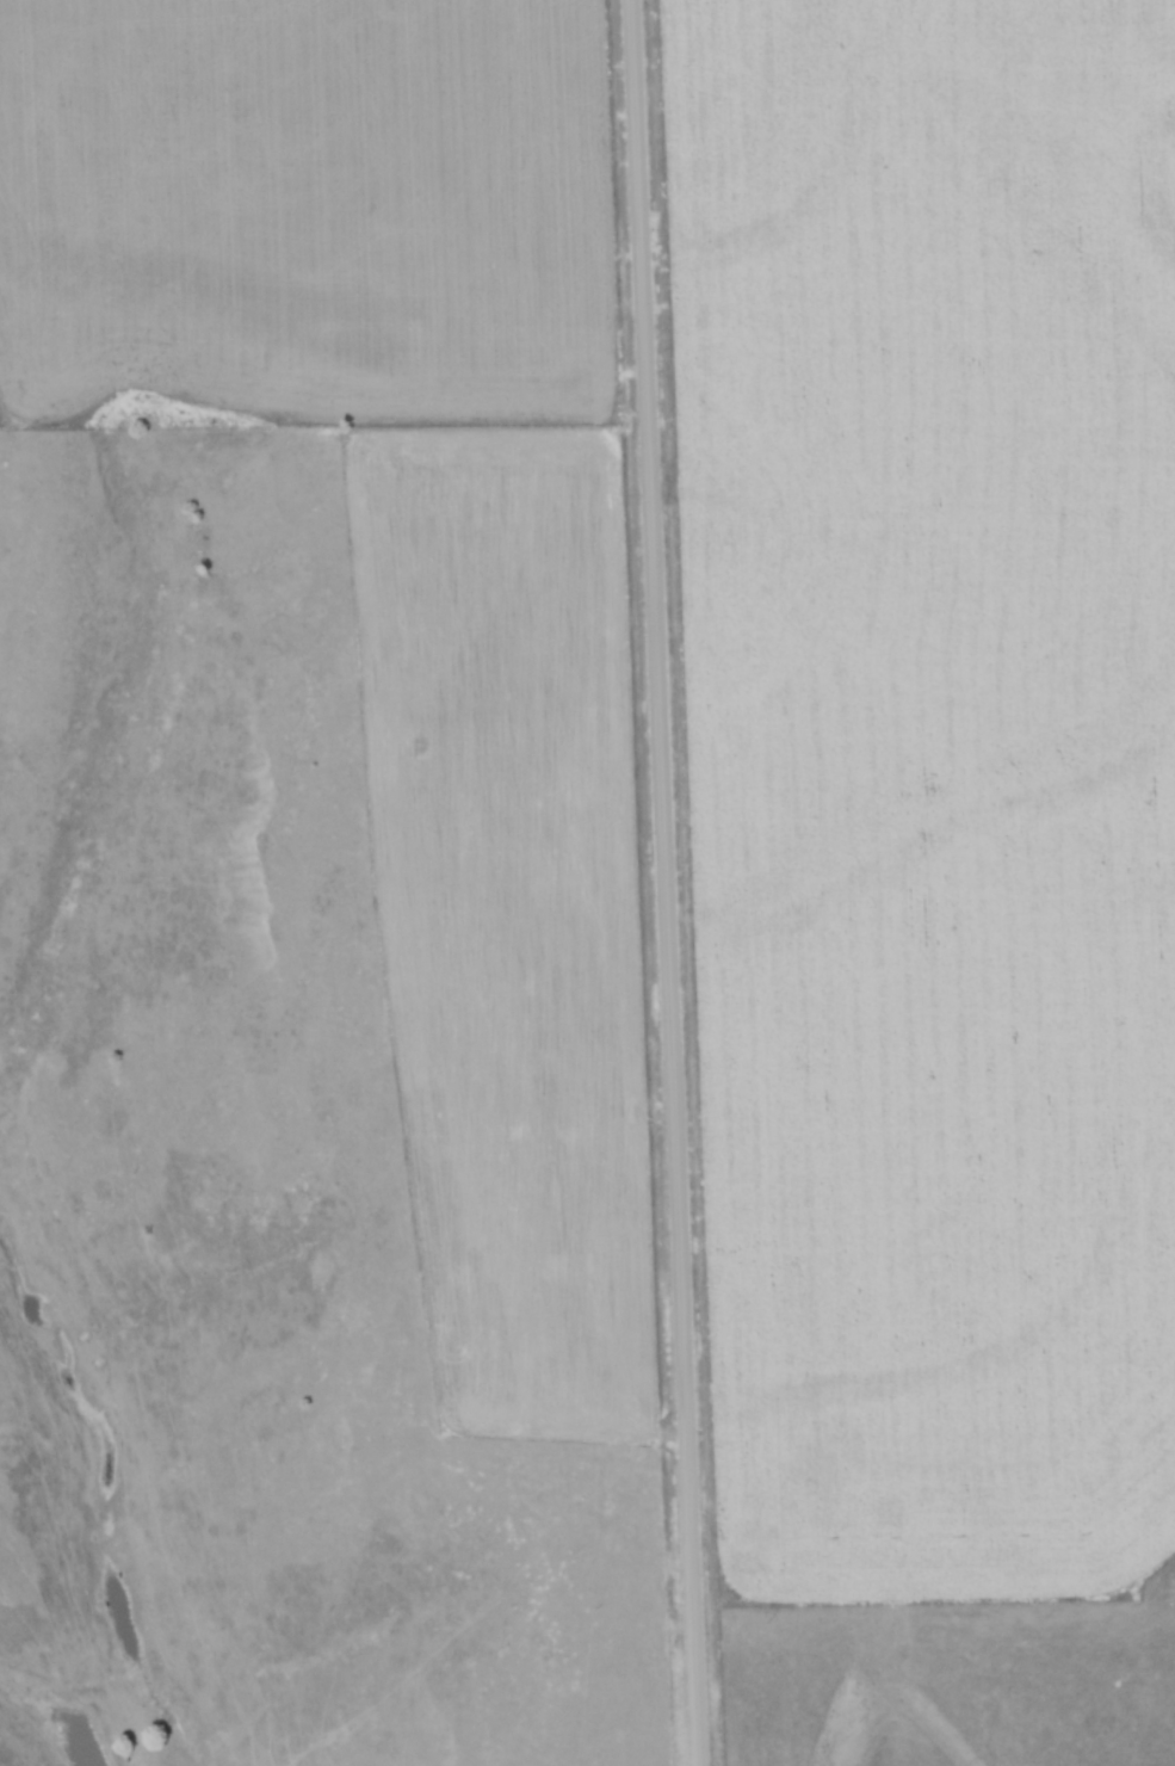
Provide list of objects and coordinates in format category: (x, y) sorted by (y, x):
road: (666, 882)

